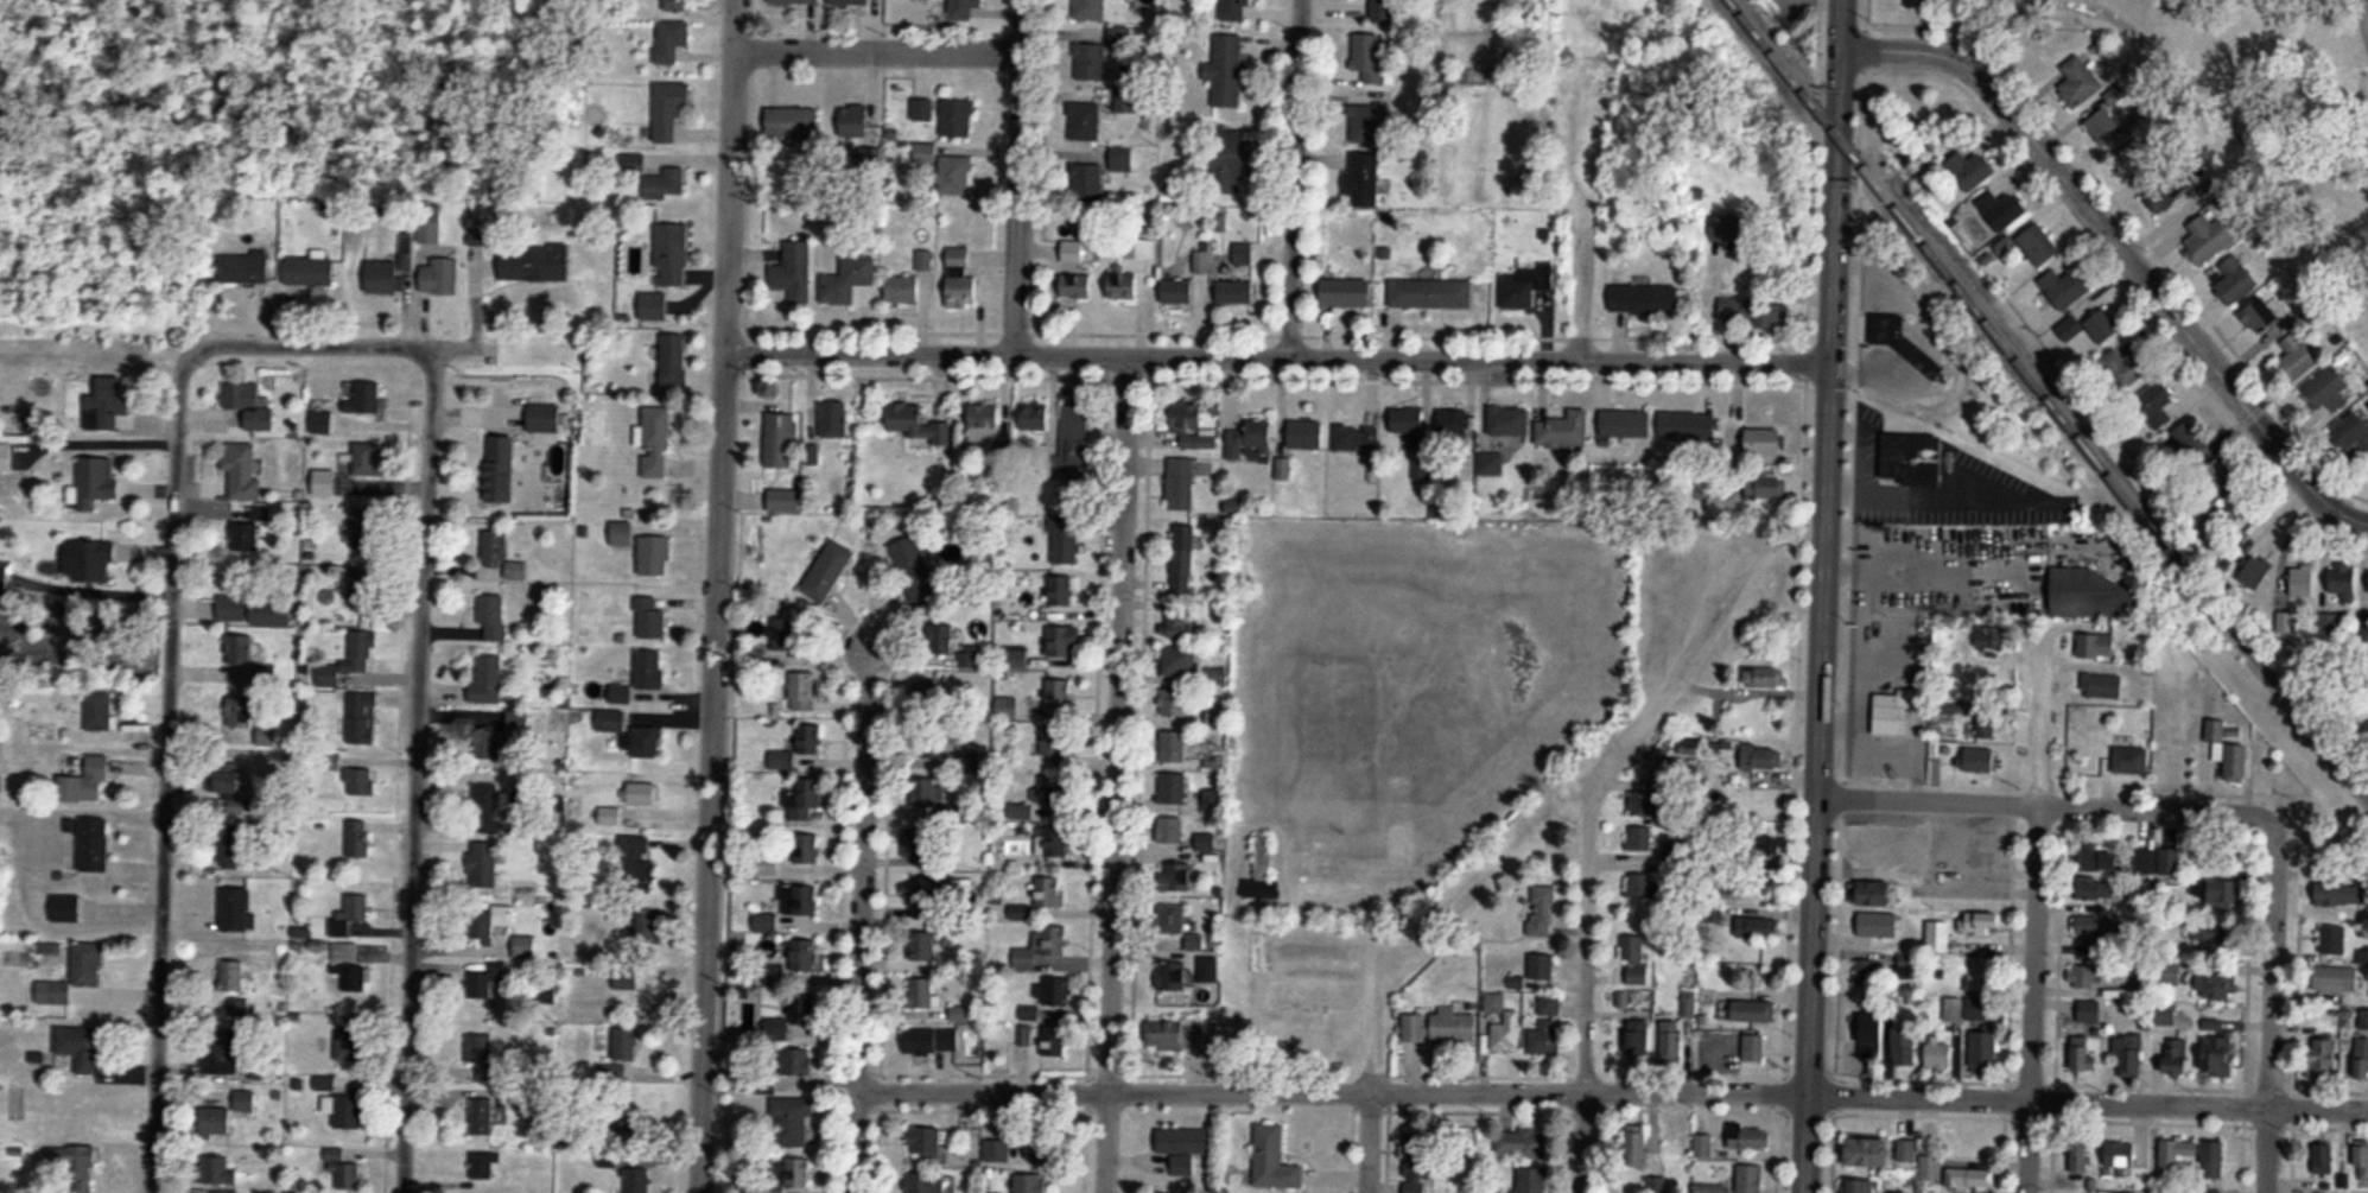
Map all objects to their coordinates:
building: (796, 1)
building: (856, 2)
building: (675, 5)
park: (1896, 5)
building: (1378, 8)
building: (964, 9)
building: (1087, 9)
building: (1236, 9)
road: (2363, 15)
road: (732, 24)
building: (671, 40)
road: (876, 47)
building: (1369, 56)
building: (1104, 58)
building: (1226, 70)
park: (2279, 80)
building: (2076, 83)
building: (668, 108)
building: (922, 109)
building: (957, 118)
building: (1085, 121)
building: (855, 122)
building: (1370, 122)
building: (795, 126)
building: (2106, 126)
building: (925, 152)
building: (1231, 154)
building: (2139, 159)
building: (1969, 169)
building: (956, 174)
road: (1017, 174)
road: (1293, 176)
building: (1363, 179)
building: (1086, 182)
building: (665, 185)
building: (2166, 193)
building: (2001, 209)
building: (2208, 236)
building: (2039, 245)
road: (2120, 247)
building: (1072, 252)
building: (1242, 252)
building: (671, 254)
building: (533, 261)
building: (245, 267)
building: (1128, 268)
building: (310, 271)
building: (794, 271)
building: (382, 277)
building: (439, 277)
building: (960, 279)
building: (846, 280)
building: (2235, 280)
building: (2065, 286)
building: (1075, 287)
building: (902, 288)
building: (1177, 291)
building: (1234, 291)
building: (1346, 292)
building: (1427, 293)
building: (1516, 293)
building: (1645, 298)
building: (653, 305)
building: (2261, 313)
building: (1778, 315)
building: (2090, 326)
building: (1886, 329)
road: (311, 343)
road: (482, 345)
road: (1277, 353)
building: (2298, 355)
building: (674, 360)
building: (2127, 364)
building: (2328, 391)
building: (363, 398)
railway: (2048, 400)
building: (2156, 402)
building: (249, 405)
building: (106, 406)
building: (1036, 417)
building: (545, 418)
building: (833, 419)
building: (1405, 420)
building: (1454, 421)
building: (1509, 421)
building: (320, 423)
building: (984, 423)
building: (916, 424)
building: (1625, 424)
building: (1687, 426)
building: (1193, 427)
building: (1564, 431)
building: (2353, 432)
building: (1074, 434)
building: (1304, 434)
building: (1246, 438)
building: (1354, 438)
building: (2194, 439)
building: (780, 440)
building: (1764, 440)
building: (655, 443)
building: (1906, 456)
building: (367, 459)
building: (1493, 463)
building: (500, 469)
building: (243, 471)
building: (2224, 476)
building: (97, 481)
building: (1180, 484)
building: (1766, 488)
building: (785, 500)
building: (2220, 516)
building: (363, 529)
building: (248, 531)
building: (623, 535)
building: (1065, 541)
building: (501, 556)
building: (654, 556)
building: (1188, 559)
building: (93, 561)
building: (914, 569)
building: (829, 571)
building: (2255, 572)
building: (2302, 580)
building: (2338, 580)
building: (361, 589)
building: (1060, 590)
building: (2095, 595)
road: (1821, 596)
building: (231, 609)
building: (271, 613)
building: (493, 618)
building: (649, 620)
road: (715, 620)
building: (1179, 624)
building: (2329, 624)
building: (938, 632)
building: (787, 636)
building: (1064, 642)
building: (2095, 645)
building: (1020, 656)
building: (240, 659)
building: (350, 660)
building: (1177, 661)
building: (650, 671)
building: (1764, 678)
building: (487, 681)
building: (2102, 686)
building: (802, 688)
building: (926, 693)
building: (1059, 694)
building: (1175, 703)
building: (1007, 707)
building: (99, 712)
building: (1892, 713)
building: (248, 718)
building: (361, 718)
building: (1982, 726)
building: (630, 734)
building: (504, 737)
building: (810, 738)
building: (926, 742)
building: (1056, 747)
building: (1173, 747)
building: (2226, 750)
building: (1980, 759)
building: (2129, 760)
road: (163, 768)
road: (415, 769)
road: (1115, 772)
building: (228, 778)
building: (87, 781)
building: (360, 782)
building: (1173, 788)
building: (927, 792)
building: (642, 793)
building: (806, 799)
building: (1213, 800)
road: (2039, 801)
building: (1645, 804)
building: (485, 805)
building: (1053, 814)
building: (1169, 829)
building: (1639, 838)
building: (358, 839)
building: (923, 840)
building: (90, 843)
building: (1207, 843)
building: (229, 844)
building: (807, 849)
building: (2101, 858)
building: (1261, 861)
building: (484, 865)
building: (640, 865)
building: (1875, 865)
building: (1183, 872)
building: (1639, 887)
building: (2096, 888)
building: (931, 889)
building: (1049, 891)
building: (2221, 893)
building: (2338, 894)
building: (799, 901)
road: (2032, 907)
building: (78, 908)
building: (237, 909)
road: (864, 910)
building: (1542, 912)
building: (350, 915)
building: (1982, 922)
building: (490, 924)
building: (1878, 925)
building: (2094, 926)
building: (1754, 927)
road: (1587, 929)
building: (642, 931)
building: (2210, 934)
building: (2332, 939)
building: (1055, 940)
building: (1195, 941)
building: (525, 947)
building: (923, 947)
building: (805, 956)
building: (1026, 959)
building: (1636, 960)
building: (1541, 967)
building: (1207, 970)
building: (1865, 973)
building: (75, 975)
building: (775, 975)
building: (2170, 975)
building: (233, 976)
building: (2087, 976)
building: (354, 978)
building: (627, 978)
building: (1173, 978)
building: (487, 984)
building: (2214, 985)
building: (2141, 988)
building: (1052, 992)
building: (922, 994)
building: (1980, 1001)
building: (1708, 1002)
road: (2269, 1002)
building: (236, 1010)
building: (1753, 1011)
building: (2090, 1011)
building: (1953, 1013)
building: (796, 1022)
building: (1502, 1024)
building: (1454, 1027)
building: (1545, 1027)
building: (1414, 1028)
building: (1169, 1033)
building: (1873, 1037)
building: (1638, 1039)
building: (1670, 1039)
building: (931, 1040)
building: (1056, 1042)
building: (350, 1043)
building: (626, 1045)
building: (81, 1047)
building: (1754, 1048)
building: (1986, 1052)
building: (2084, 1053)
building: (233, 1055)
building: (482, 1055)
building: (2128, 1056)
building: (2178, 1056)
building: (2361, 1056)
building: (2218, 1058)
building: (2322, 1058)
building: (799, 1062)
building: (324, 1083)
road: (1615, 1090)
building: (245, 1100)
building: (345, 1111)
building: (482, 1115)
building: (792, 1121)
building: (216, 1122)
road: (1365, 1131)
building: (1750, 1137)
building: (926, 1141)
building: (1642, 1142)
building: (1521, 1143)
building: (1182, 1147)
building: (997, 1148)
building: (1042, 1149)
building: (1907, 1150)
building: (1867, 1153)
building: (2176, 1153)
building: (2119, 1155)
building: (2081, 1157)
building: (2323, 1157)
building: (1274, 1159)
building: (609, 1160)
building: (2213, 1160)
building: (2361, 1161)
building: (1416, 1162)
building: (482, 1166)
building: (1930, 1167)
building: (82, 1169)
building: (342, 1169)
building: (220, 1170)
building: (799, 1173)
building: (1751, 1179)
building: (1970, 1179)
building: (635, 1180)
building: (1532, 1180)
building: (928, 1182)
building: (1030, 1182)
building: (1656, 1185)
building: (1860, 1186)
building: (1709, 1188)
building: (222, 1191)

